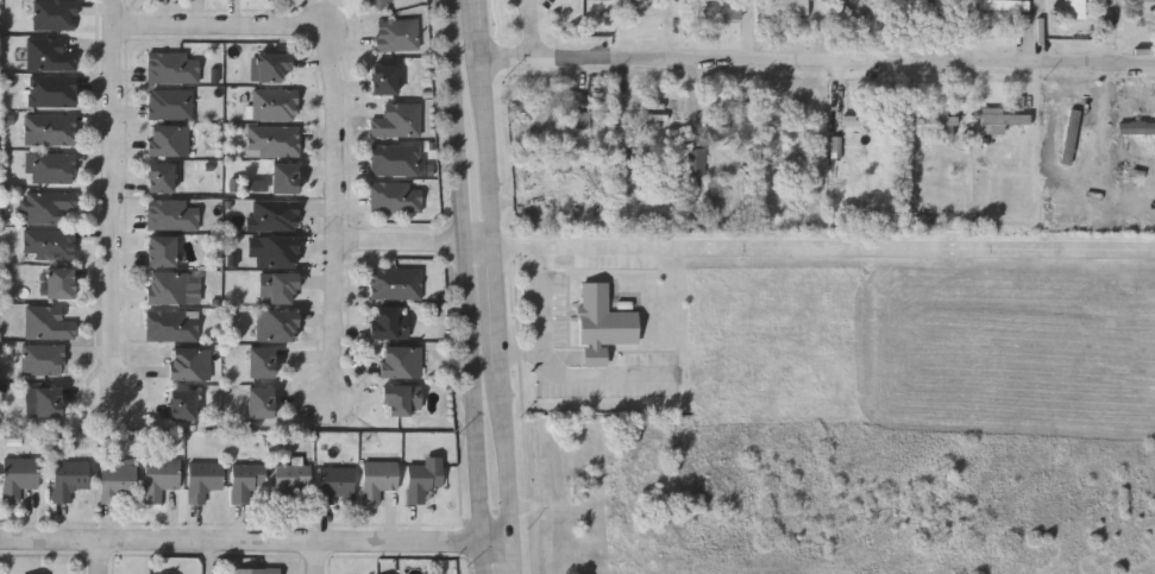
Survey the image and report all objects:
building: (381, 4)
building: (928, 6)
building: (787, 7)
building: (717, 10)
building: (1013, 10)
building: (1076, 10)
building: (55, 14)
road: (478, 15)
road: (533, 31)
building: (397, 36)
building: (49, 55)
road: (817, 62)
building: (272, 65)
building: (174, 68)
road: (453, 75)
building: (384, 78)
building: (52, 92)
building: (171, 103)
building: (275, 105)
road: (337, 108)
building: (397, 120)
building: (583, 120)
building: (947, 120)
building: (1002, 120)
building: (871, 121)
building: (733, 128)
building: (1137, 128)
building: (50, 131)
road: (484, 137)
building: (1072, 137)
building: (169, 140)
building: (274, 140)
building: (624, 156)
building: (396, 159)
building: (696, 166)
building: (55, 168)
building: (161, 177)
building: (285, 178)
building: (258, 187)
road: (463, 196)
building: (396, 197)
road: (119, 198)
building: (49, 207)
building: (172, 214)
building: (274, 214)
road: (402, 241)
road: (478, 242)
building: (50, 244)
road: (822, 247)
building: (161, 251)
building: (278, 251)
building: (59, 283)
building: (396, 283)
building: (168, 286)
building: (278, 288)
road: (495, 307)
building: (48, 322)
building: (390, 322)
building: (602, 323)
building: (172, 324)
building: (278, 324)
road: (547, 324)
building: (43, 359)
building: (262, 361)
building: (401, 361)
building: (190, 364)
road: (596, 378)
road: (473, 393)
building: (402, 400)
building: (45, 402)
building: (262, 403)
building: (182, 404)
road: (504, 458)
building: (19, 478)
building: (161, 478)
building: (69, 479)
building: (378, 479)
building: (423, 479)
building: (117, 480)
building: (203, 480)
building: (246, 480)
building: (291, 481)
building: (335, 485)
road: (240, 540)
road: (495, 543)
road: (102, 556)
road: (213, 556)
road: (321, 557)
road: (481, 559)
road: (510, 559)
building: (258, 570)

